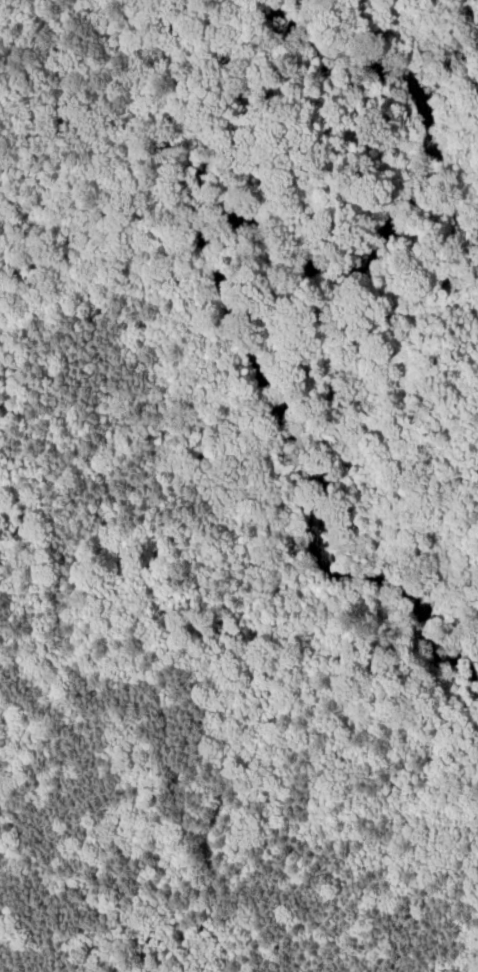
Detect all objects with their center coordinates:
river: (308, 380)

